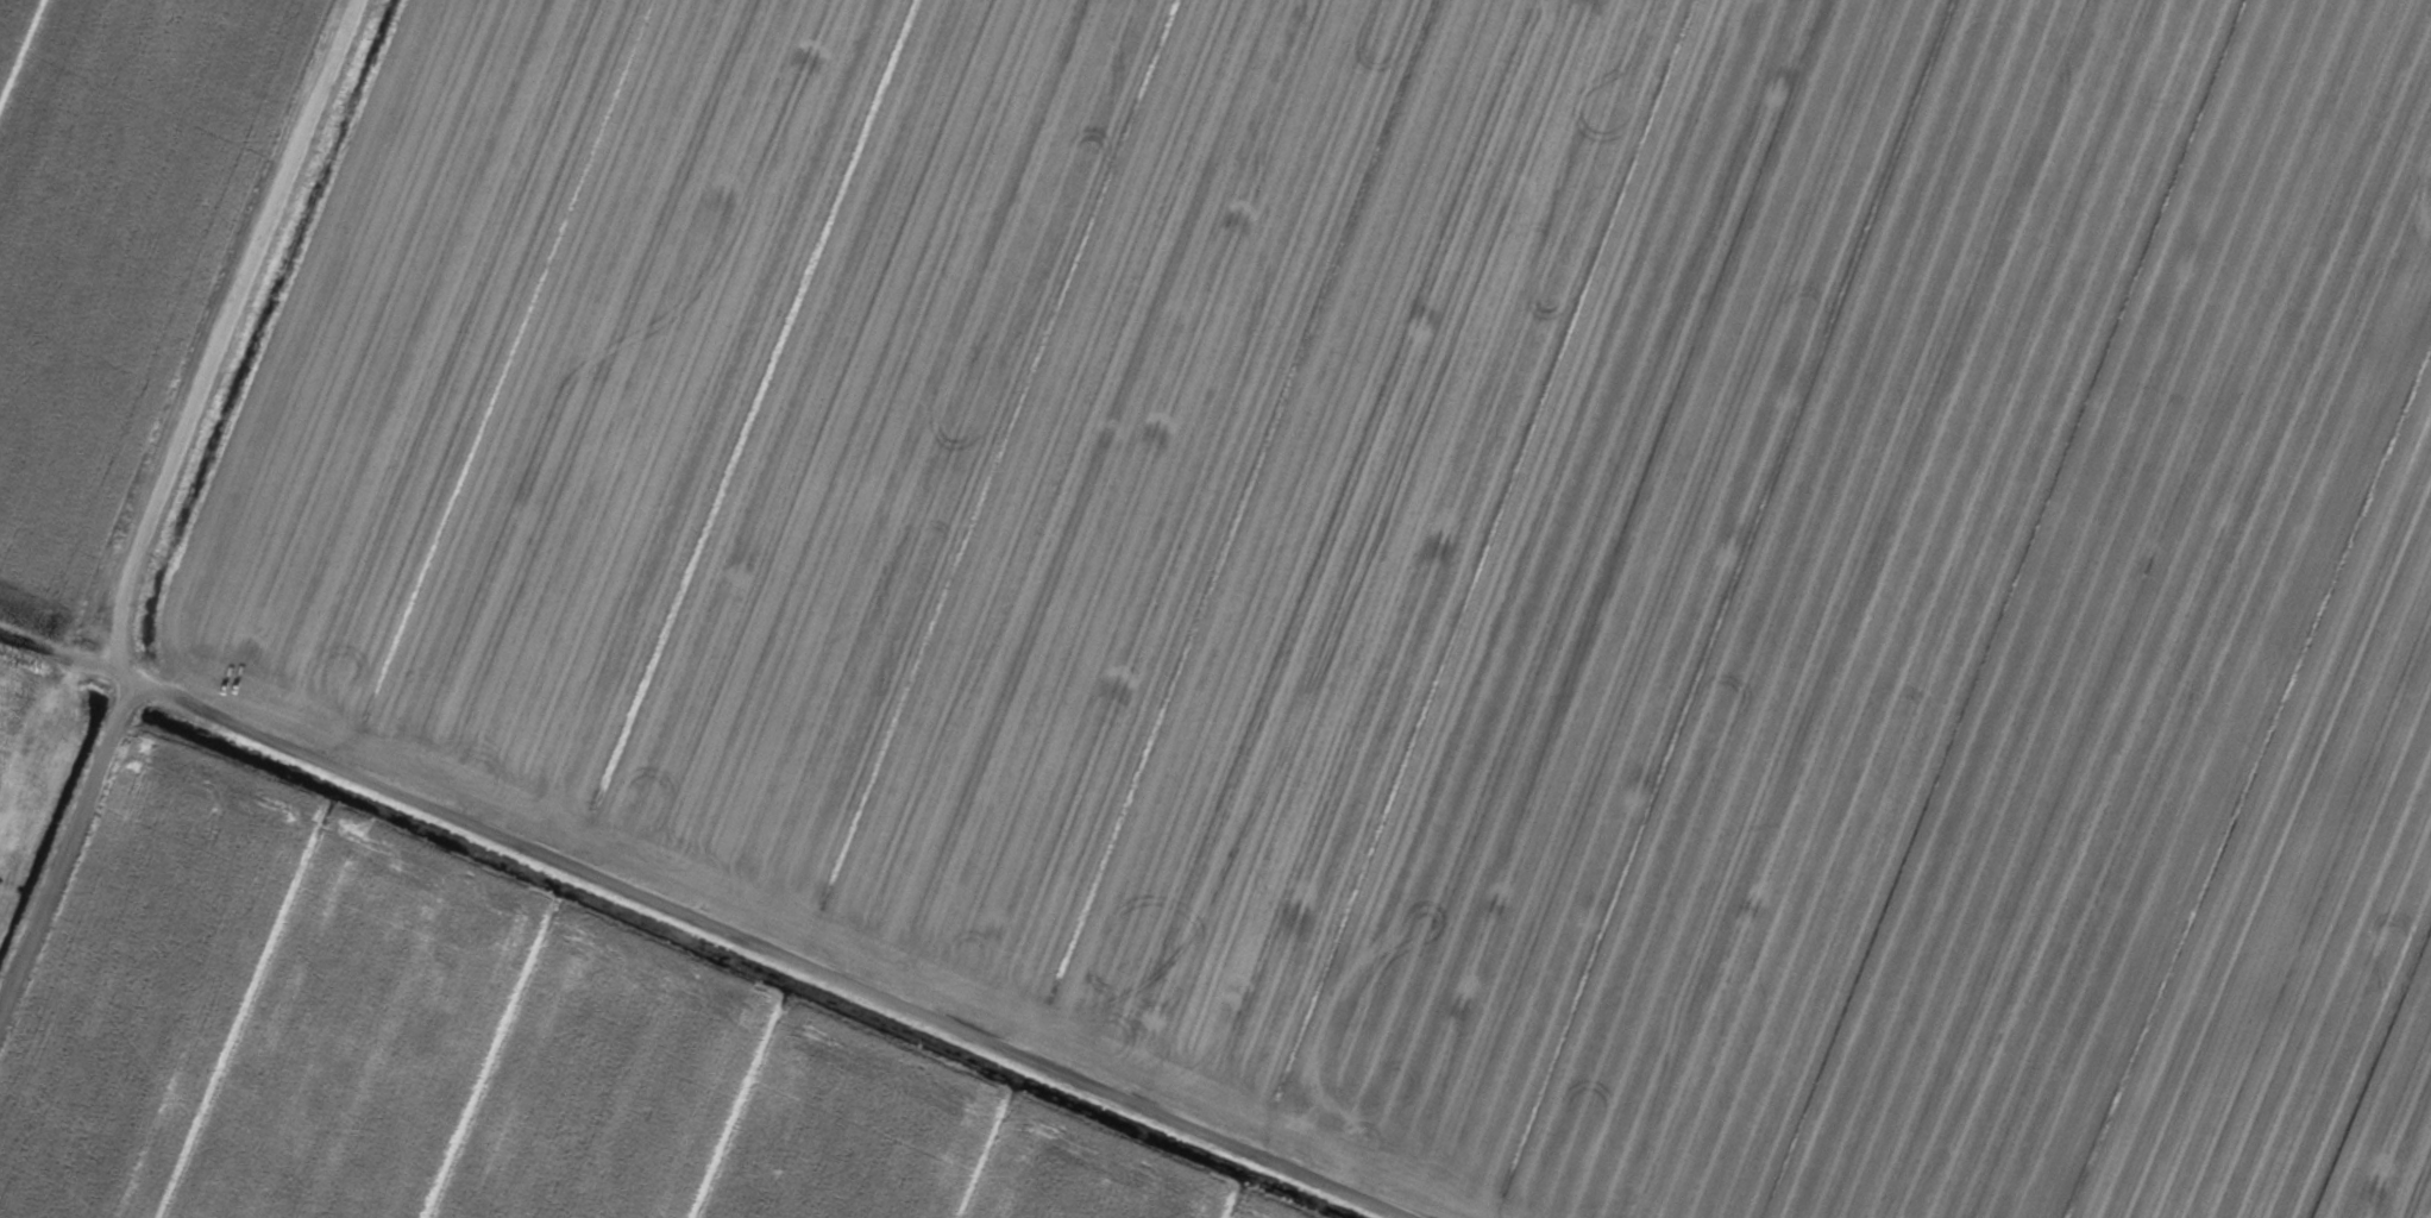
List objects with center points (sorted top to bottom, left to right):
road: (149, 522)
crop: (1215, 609)
road: (814, 938)

